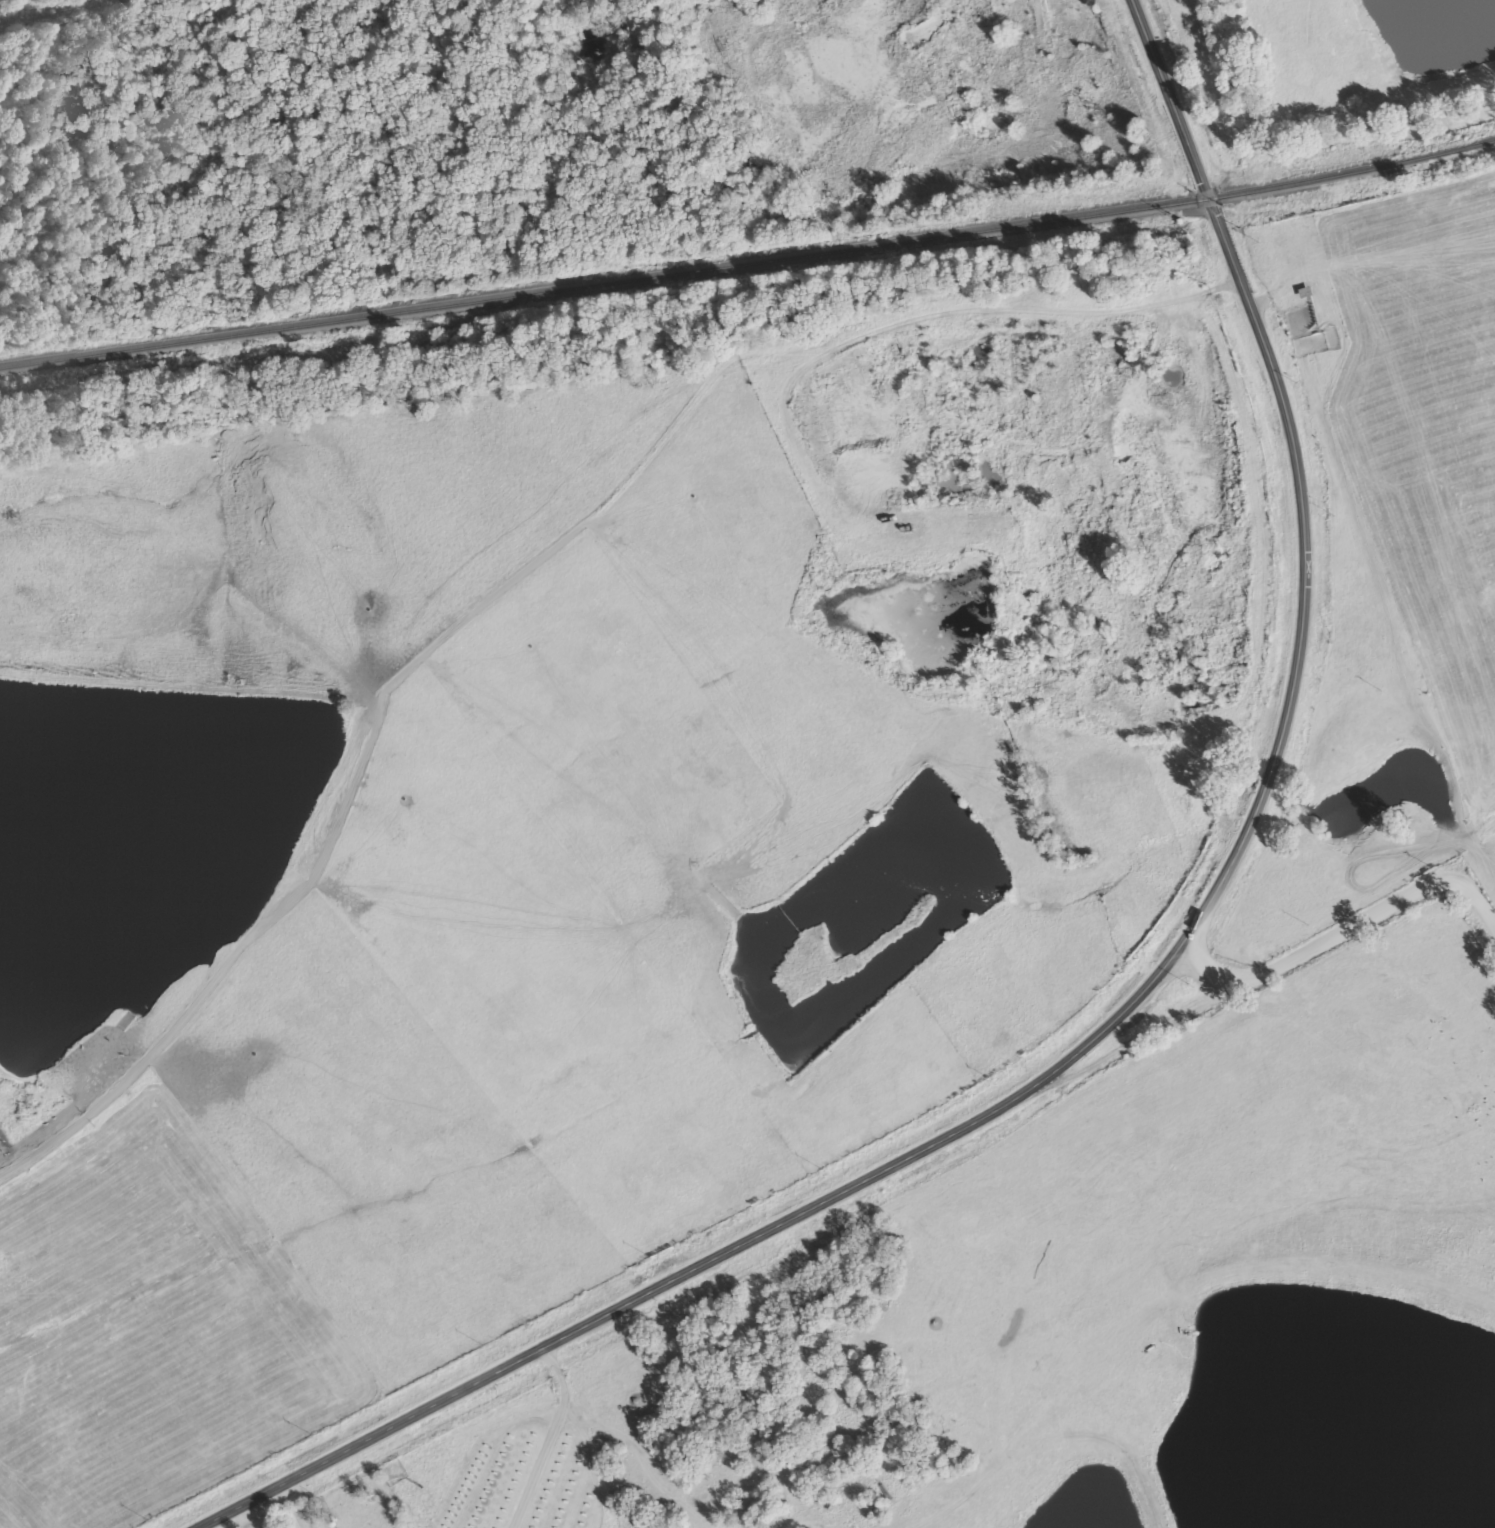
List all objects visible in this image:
road: (812, 12)
railway: (749, 264)
road: (1016, 318)
road: (546, 503)
road: (1275, 960)
road: (1217, 963)
road: (1140, 1005)
road: (559, 1413)

